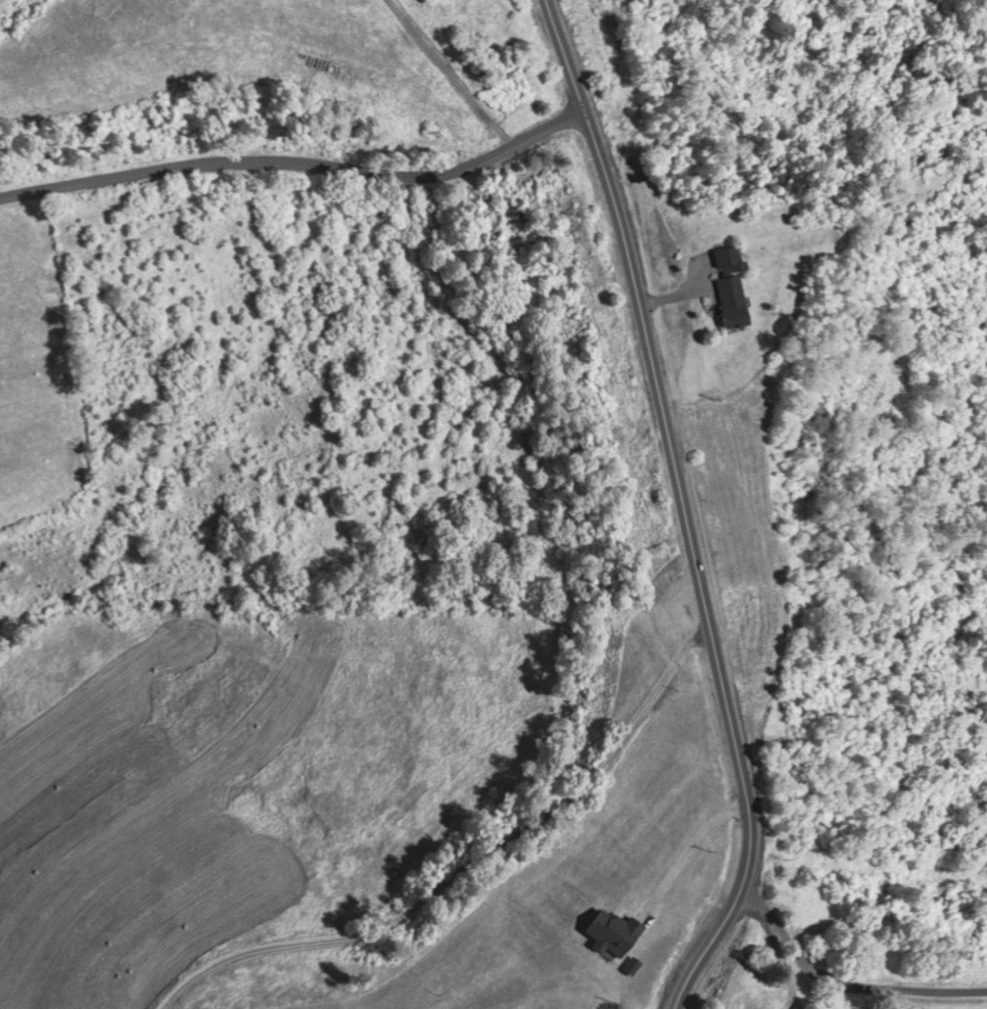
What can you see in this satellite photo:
road: (298, 162)
building: (739, 284)
road: (682, 509)
building: (133, 961)
road: (845, 979)

